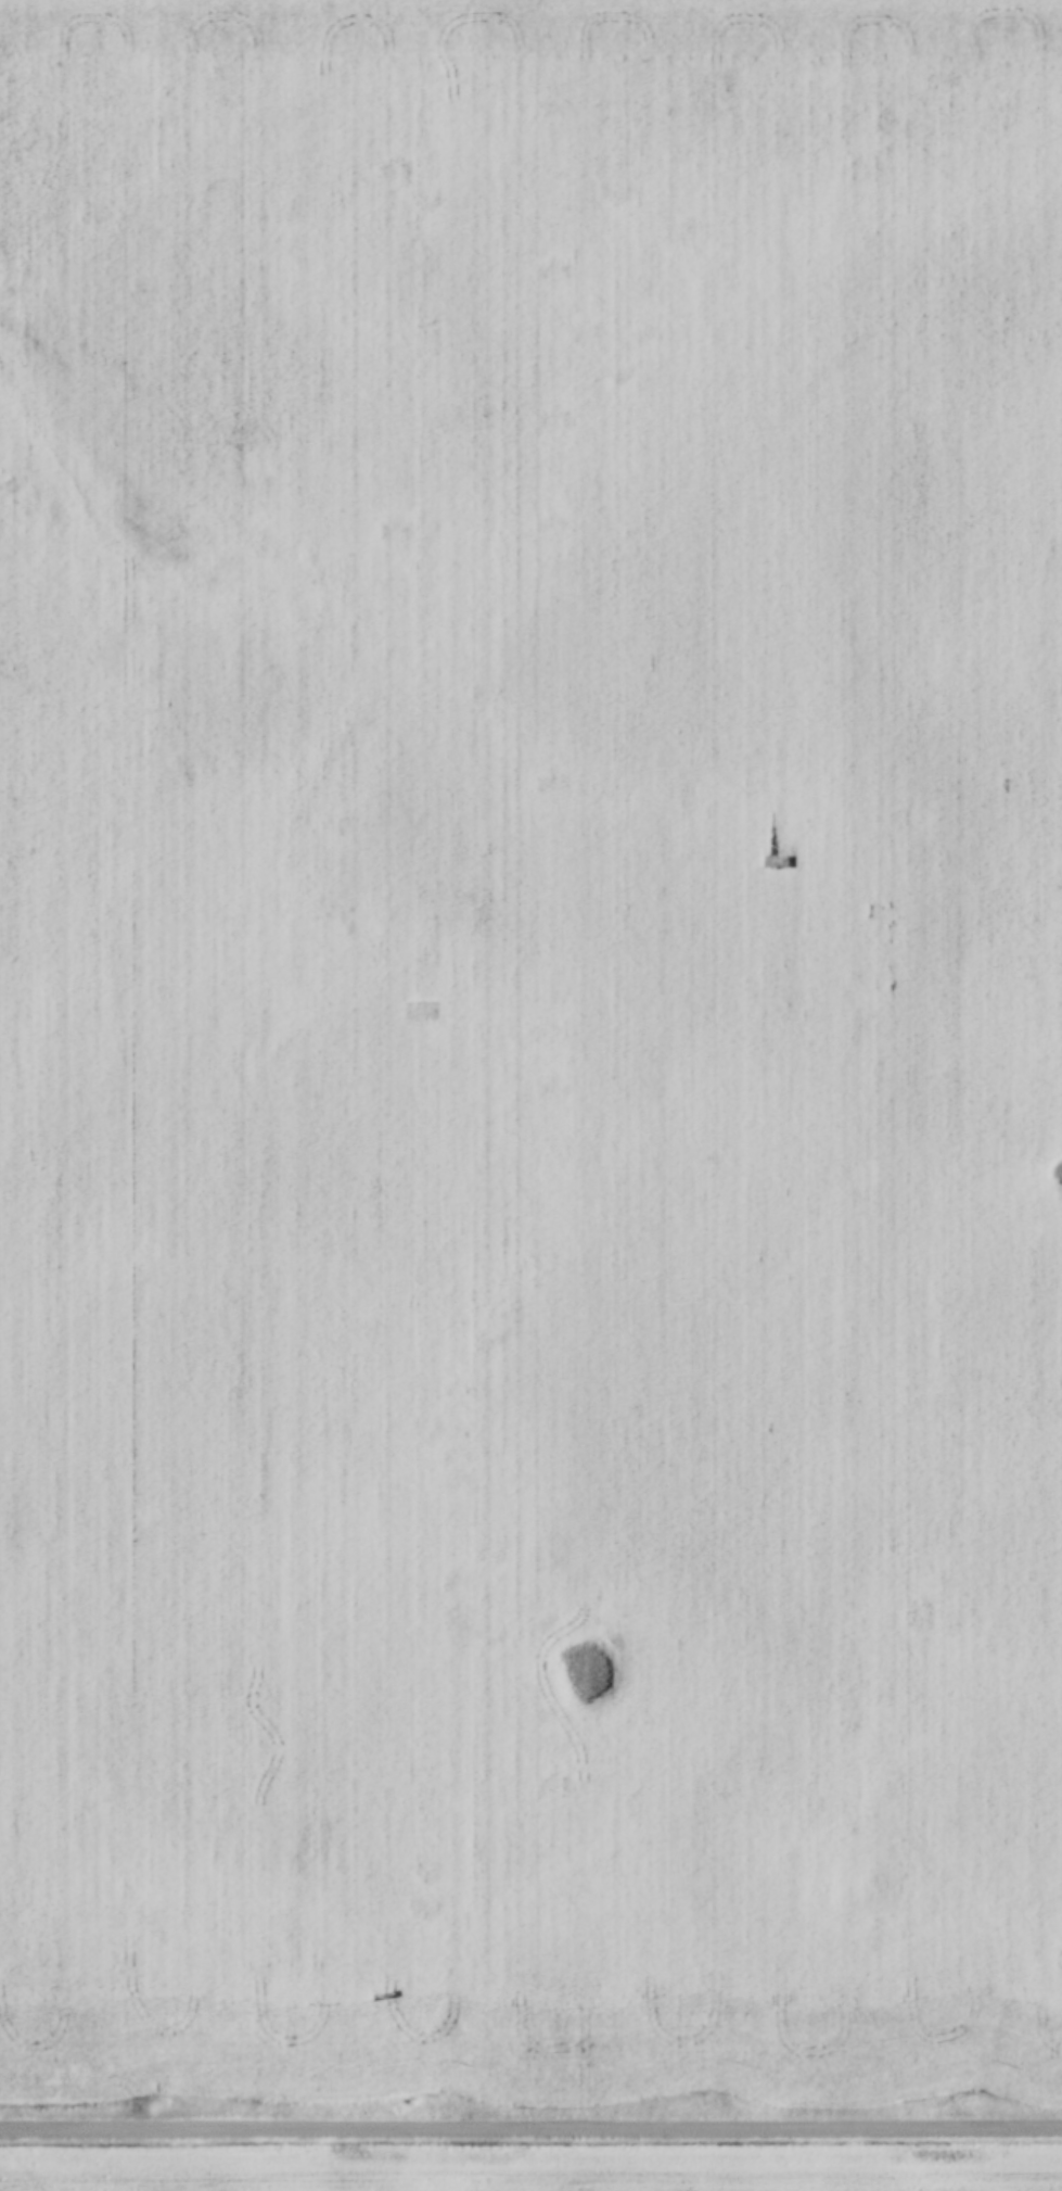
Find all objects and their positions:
road: (530, 2126)

